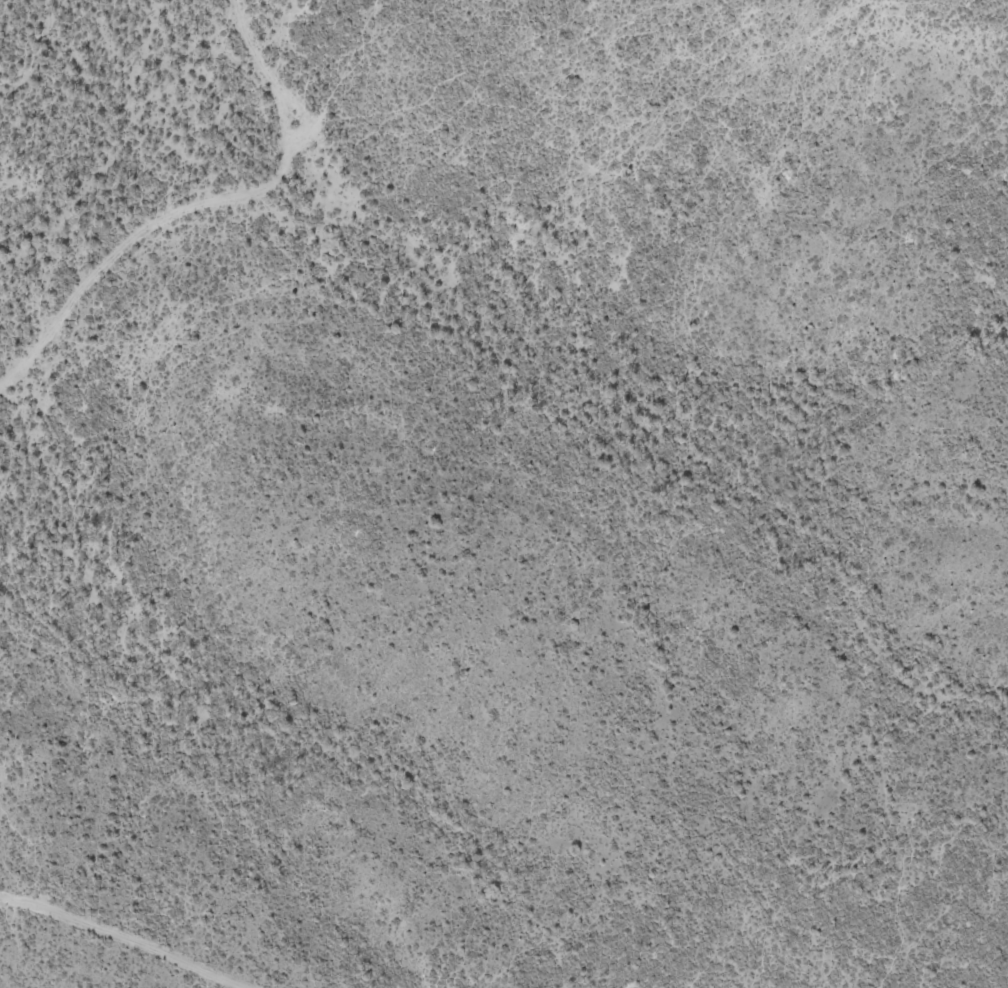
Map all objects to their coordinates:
road: (133, 934)

